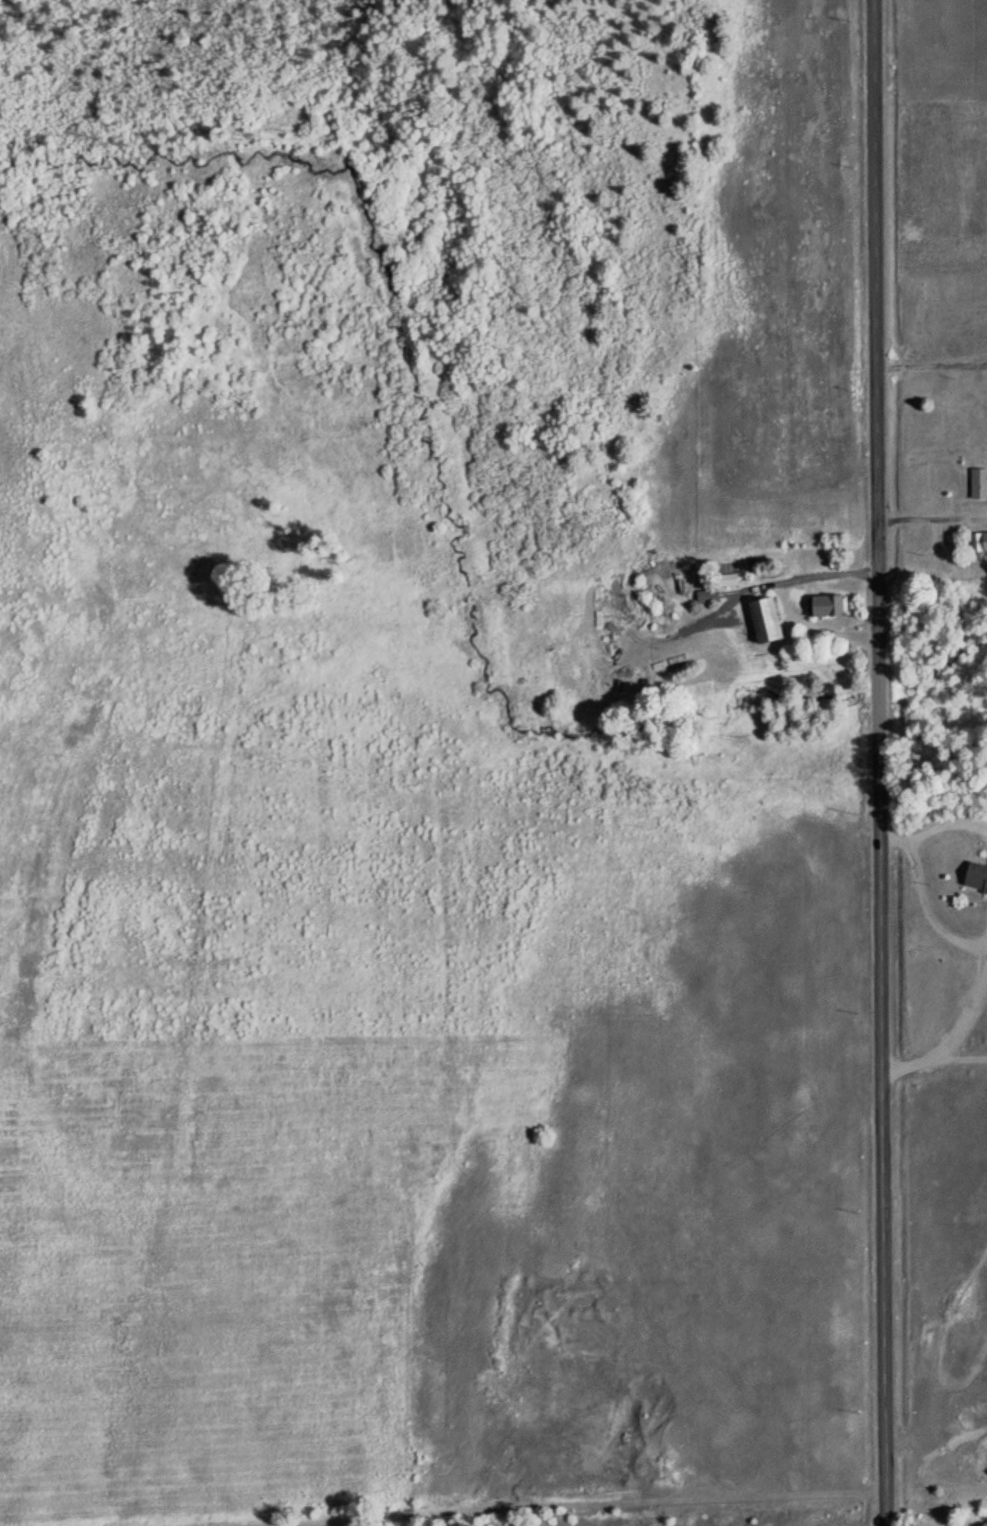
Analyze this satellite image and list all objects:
building: (980, 483)
building: (980, 545)
building: (837, 606)
building: (774, 622)
road: (880, 763)
building: (978, 875)
road: (955, 1028)
road: (935, 1523)

